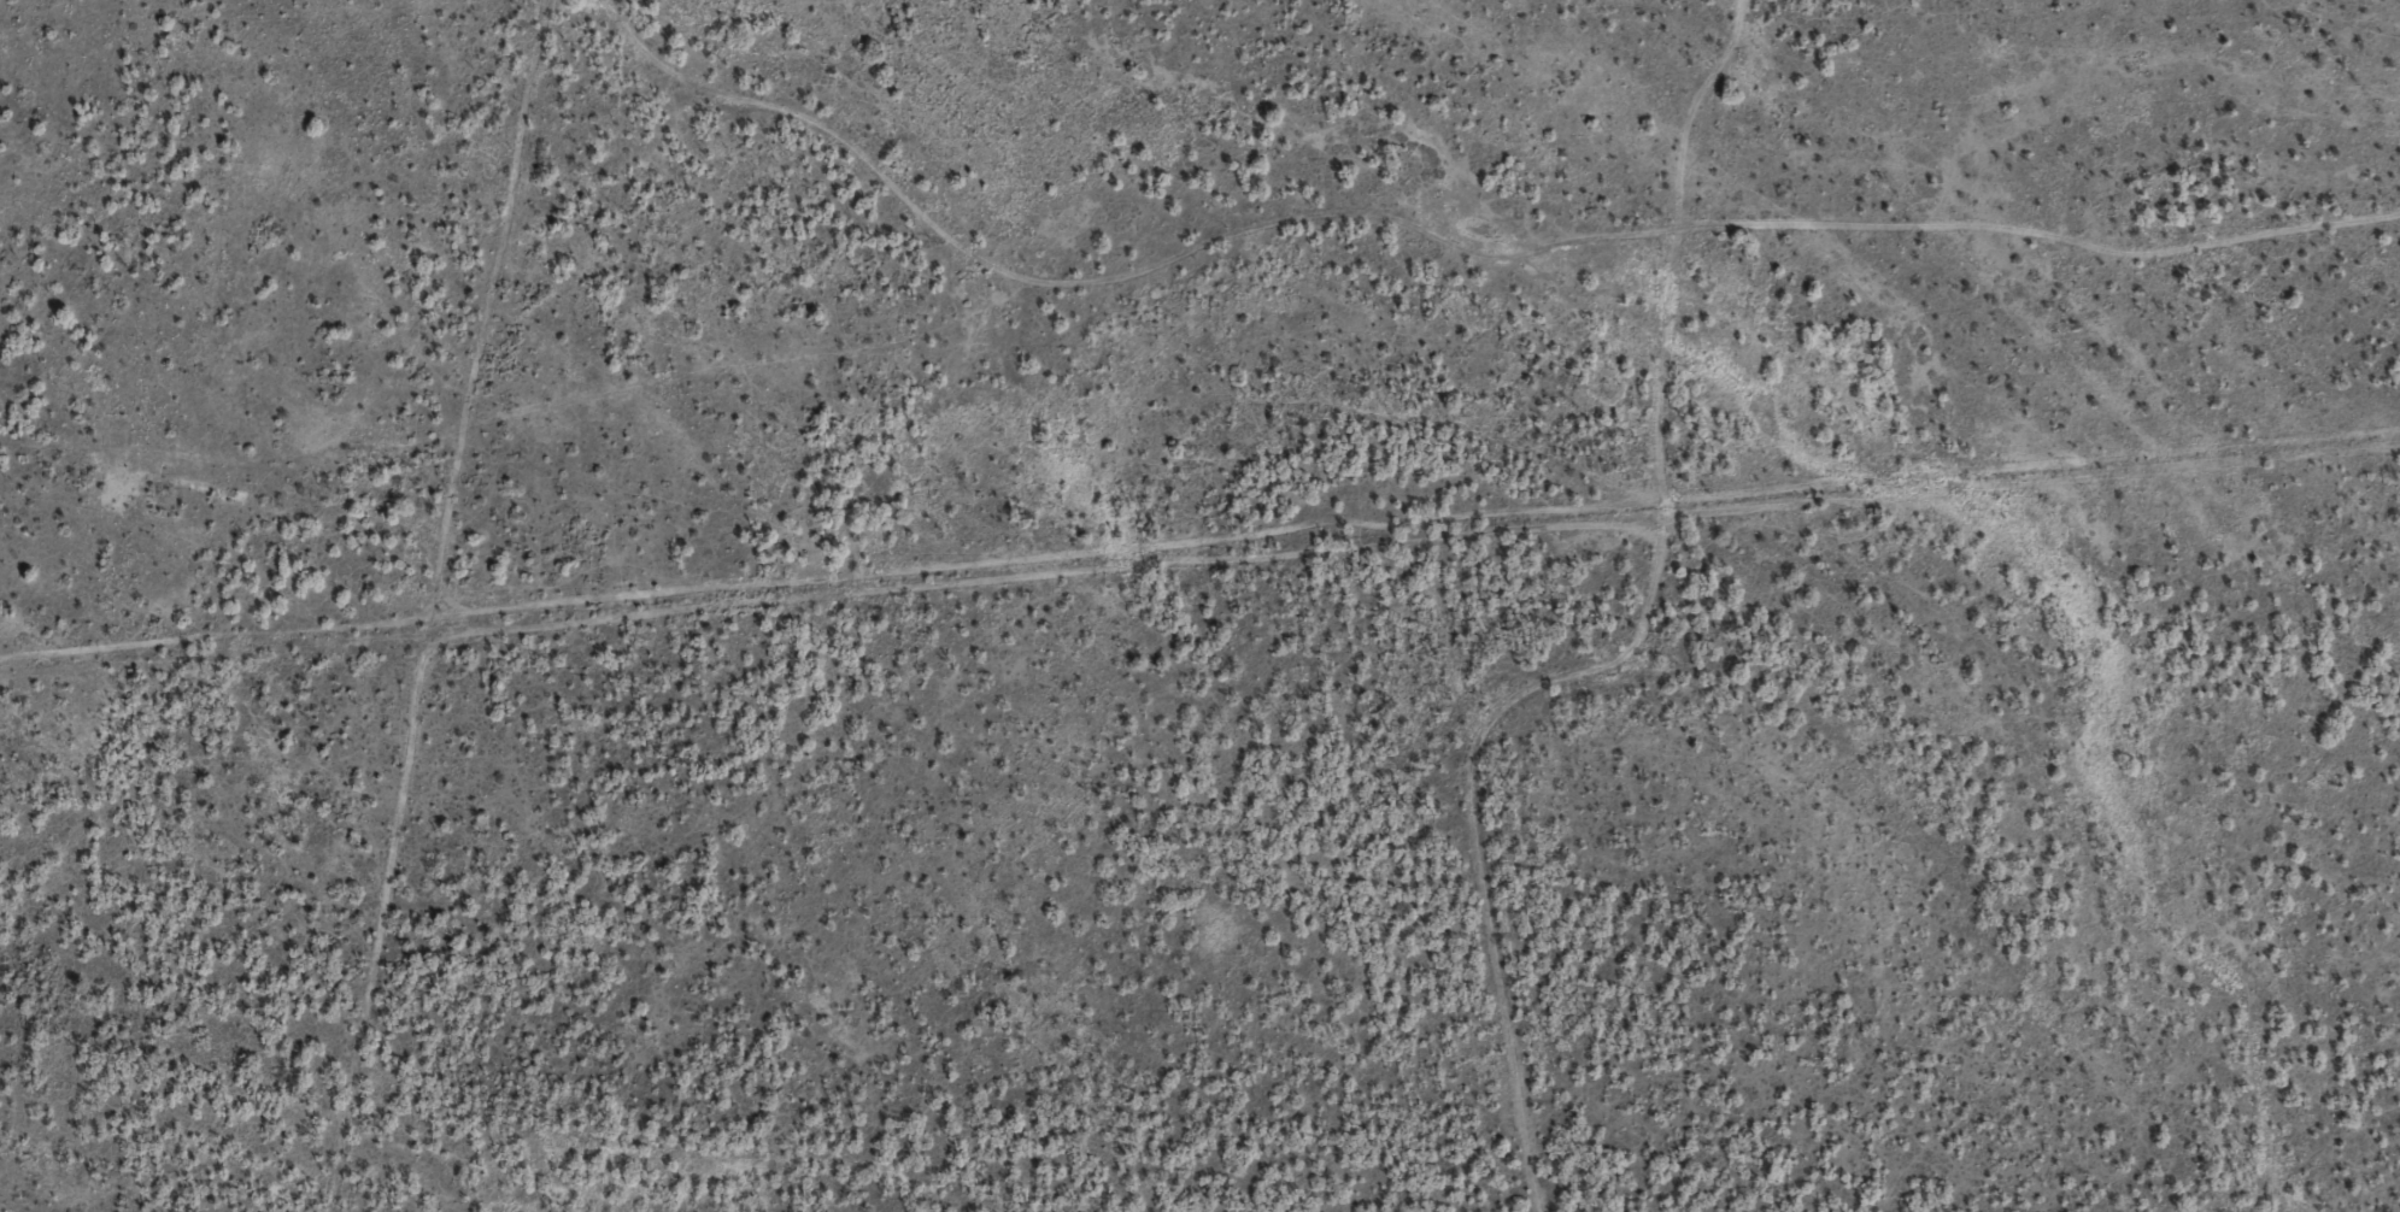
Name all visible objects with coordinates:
road: (1679, 228)
road: (726, 376)

